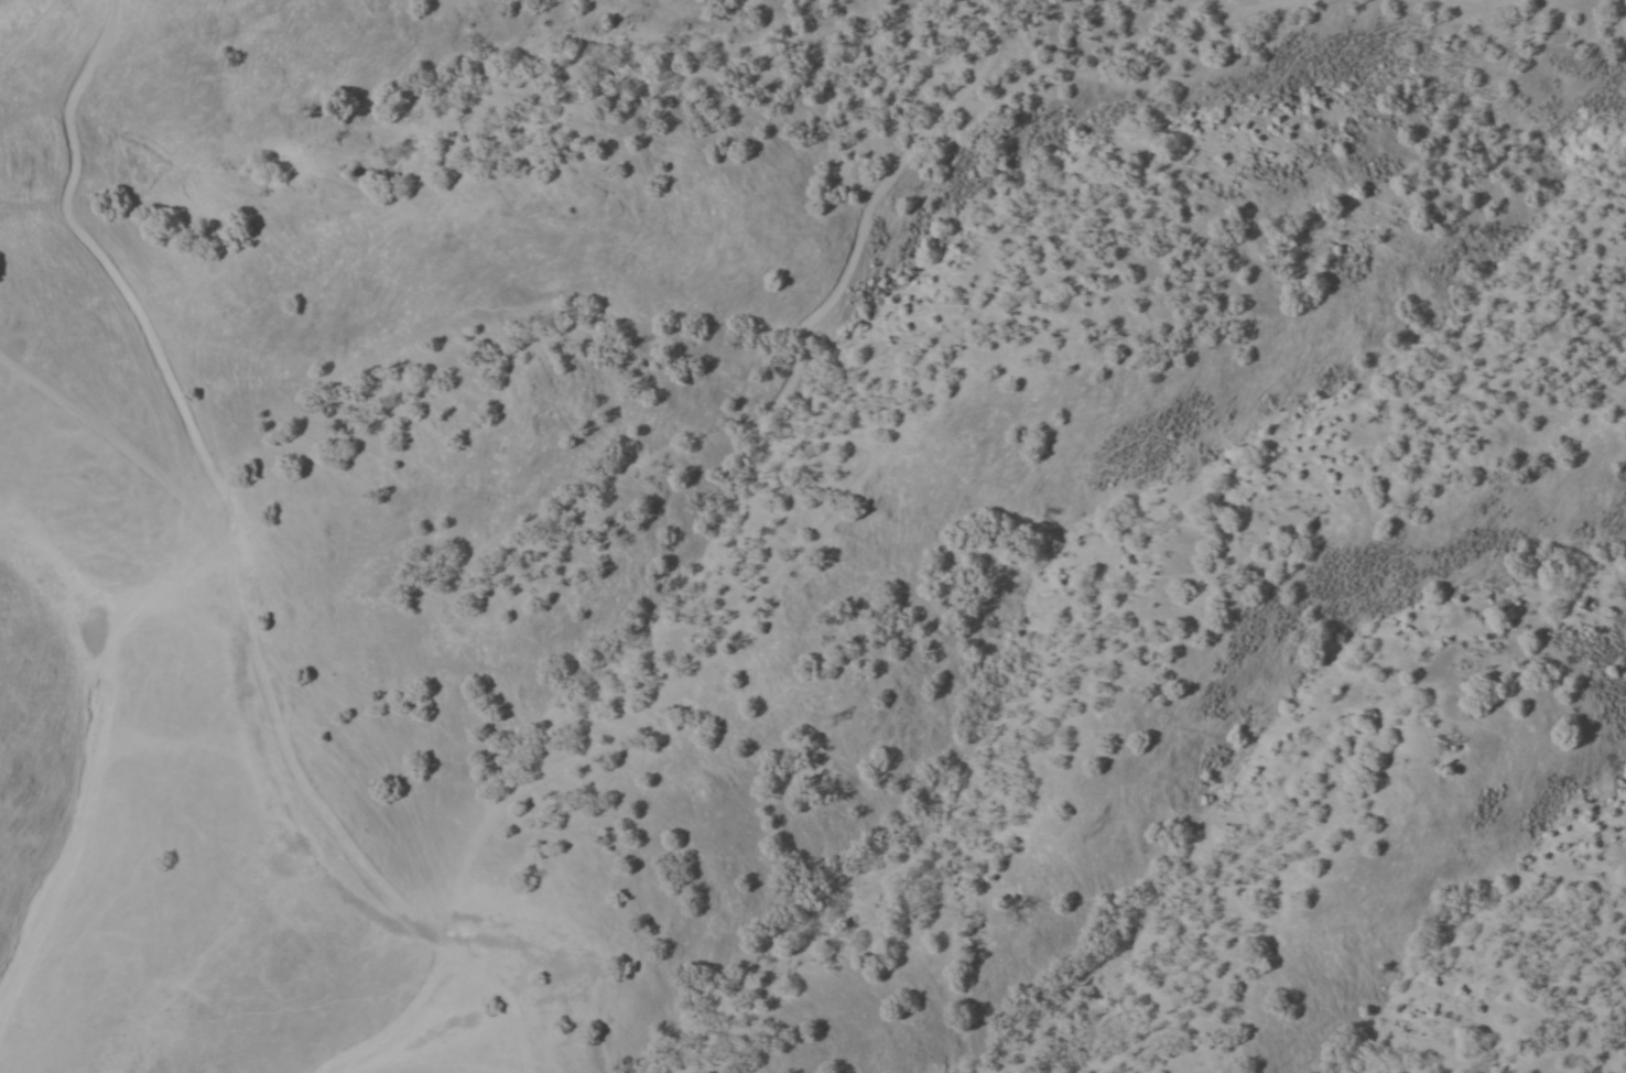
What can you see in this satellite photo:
road: (822, 435)
road: (118, 446)
road: (210, 470)
road: (98, 761)
road: (465, 850)
road: (496, 991)
road: (393, 1016)

